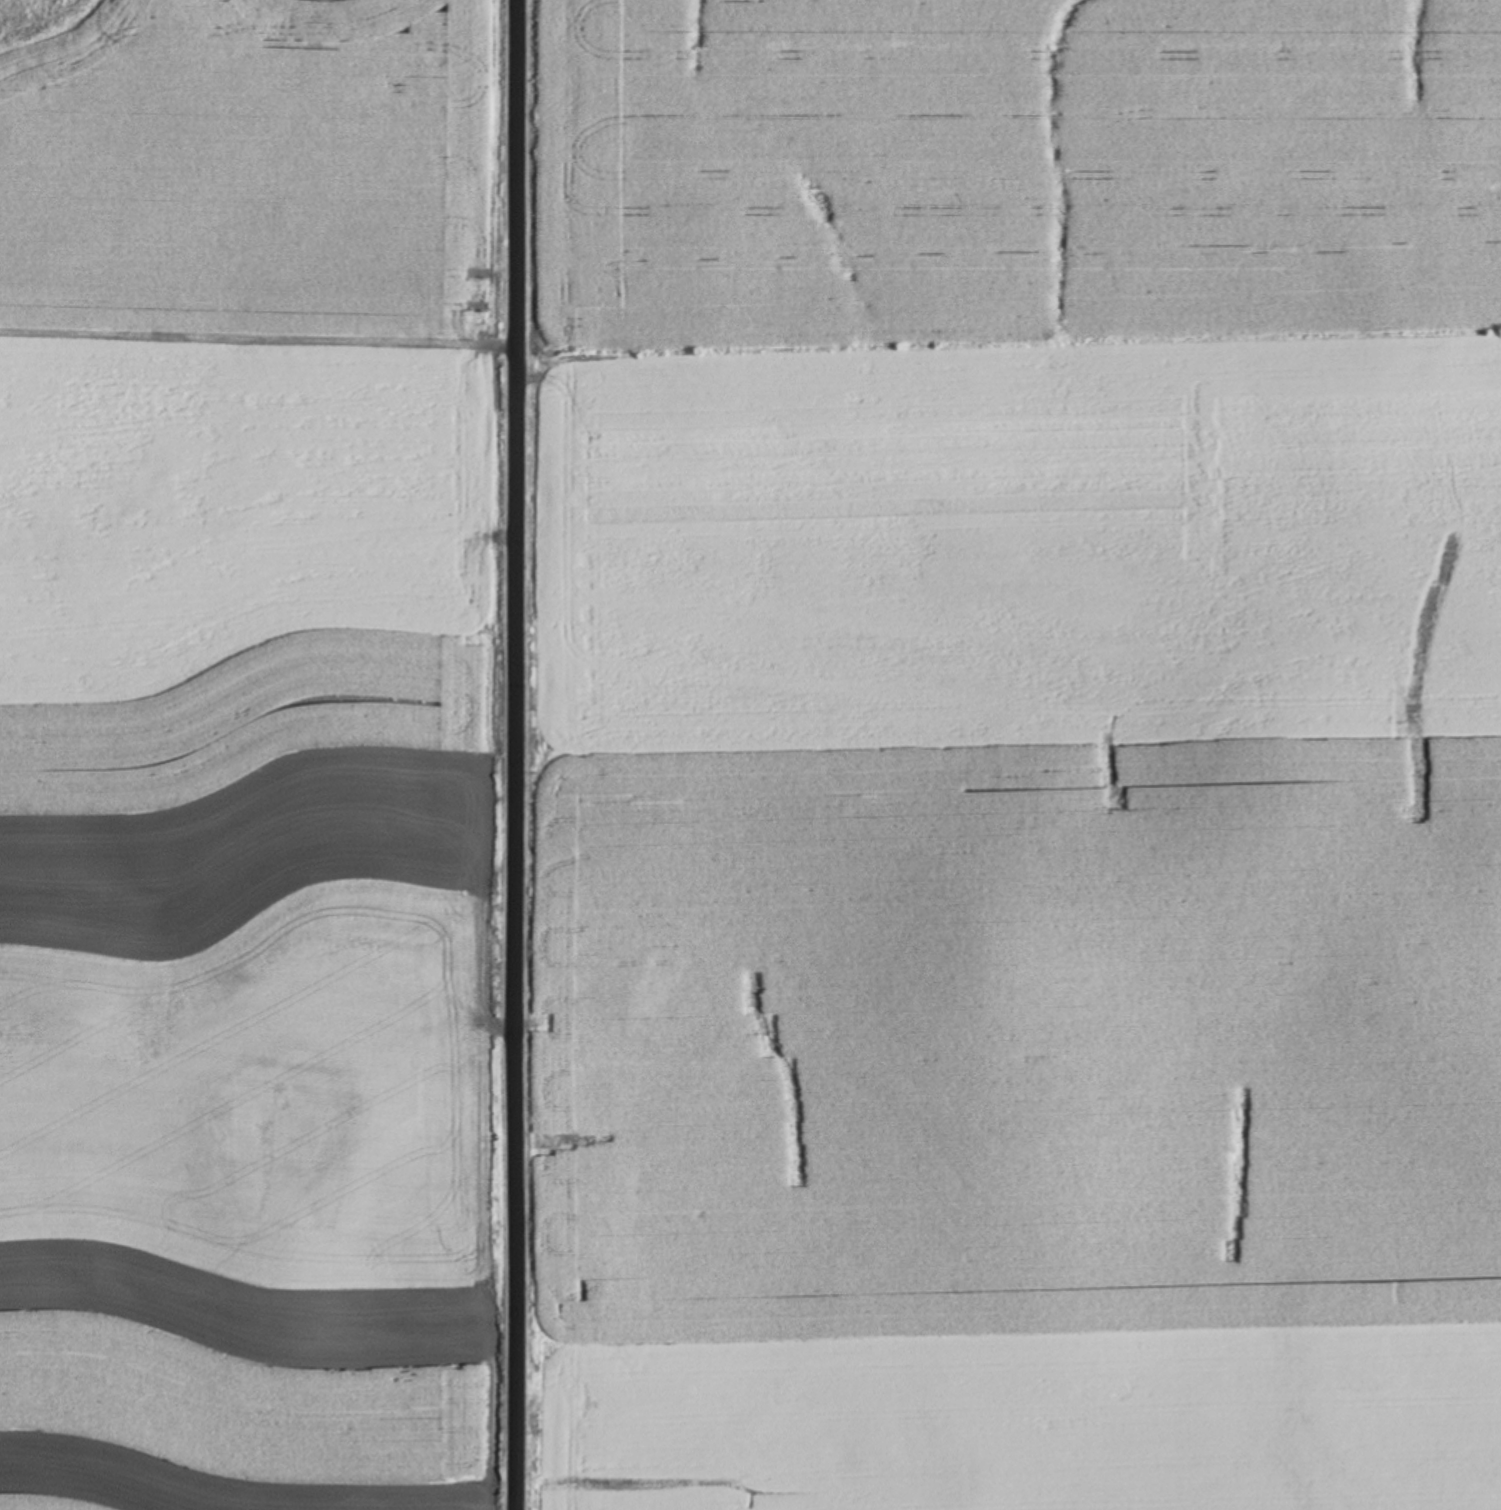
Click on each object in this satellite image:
crop: (1013, 754)
road: (518, 755)
crop: (252, 756)

